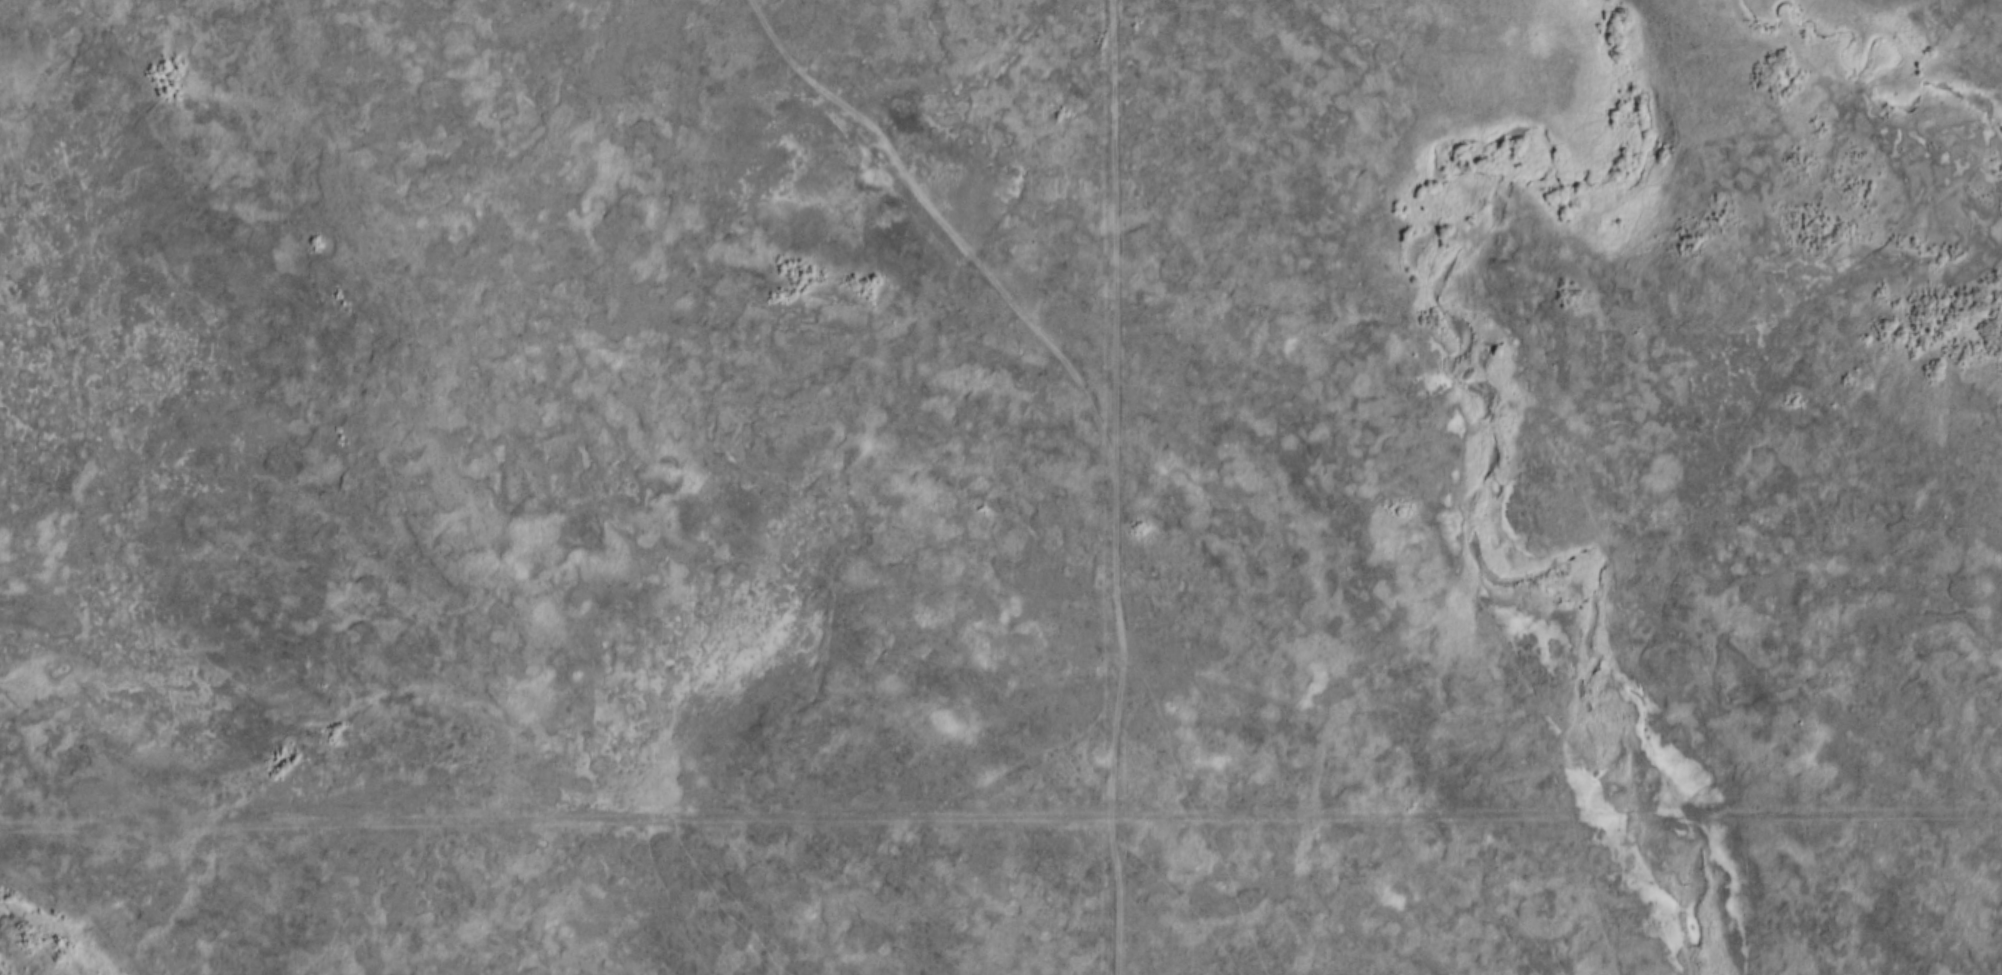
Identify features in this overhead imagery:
road: (953, 226)
road: (1120, 236)

